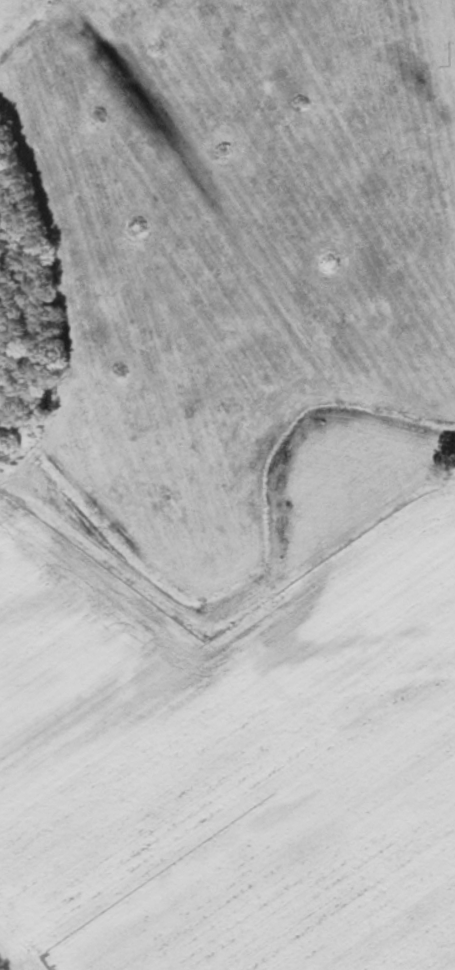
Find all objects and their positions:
power tower: (448, 64)
road: (5, 963)

